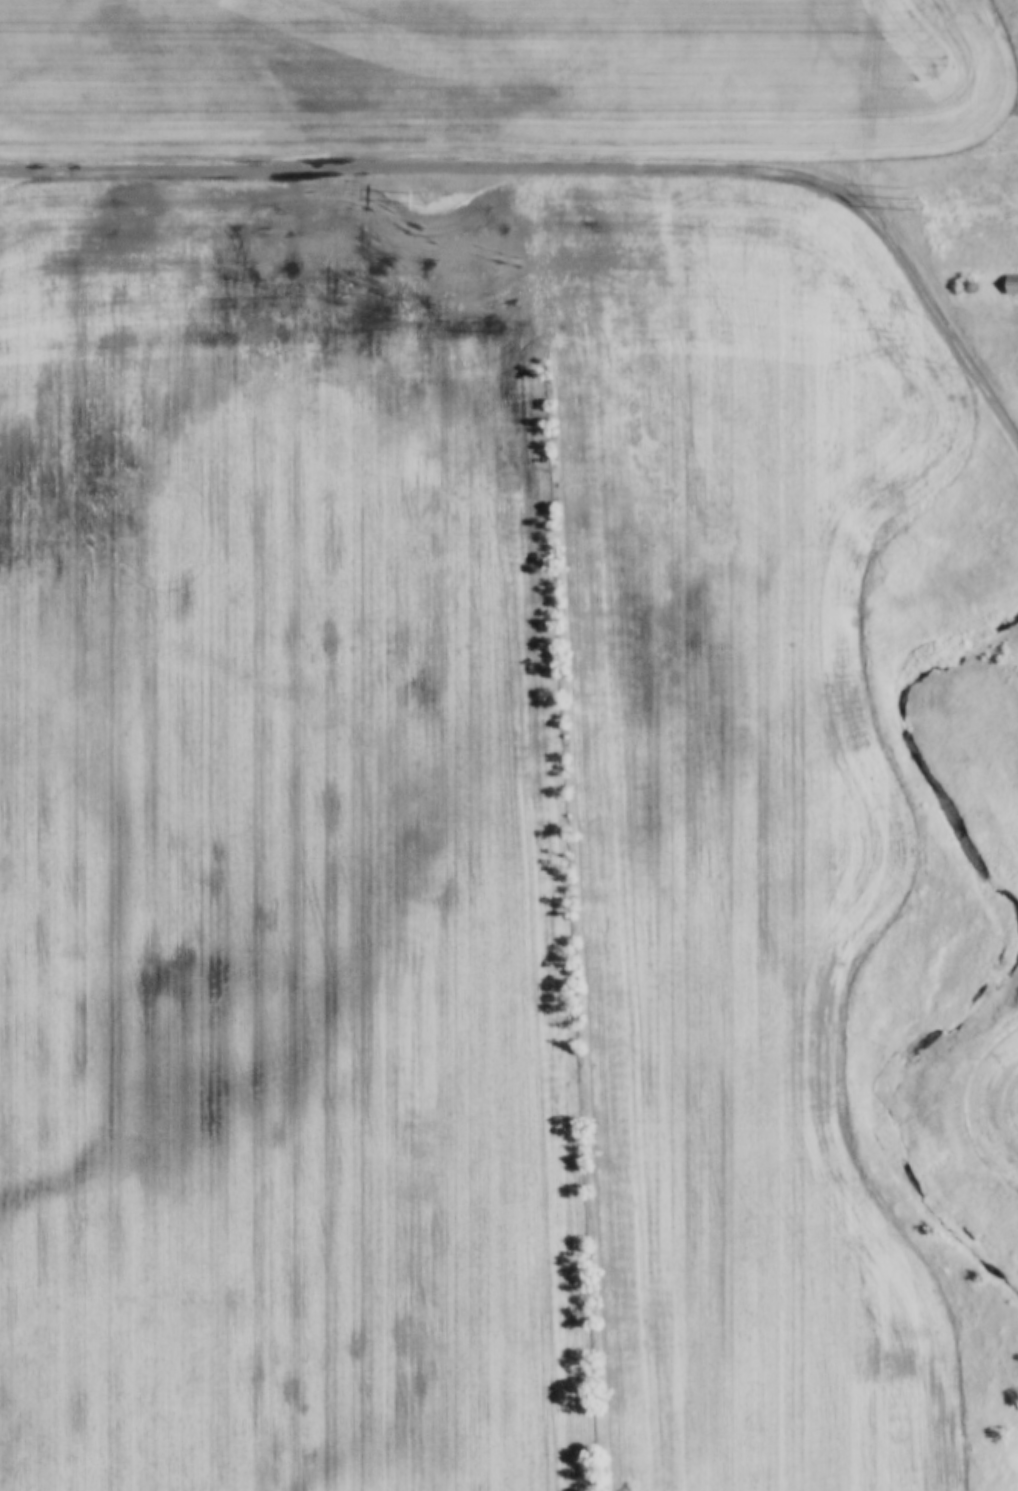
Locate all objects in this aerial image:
road: (425, 156)
building: (1013, 283)
road: (938, 302)

